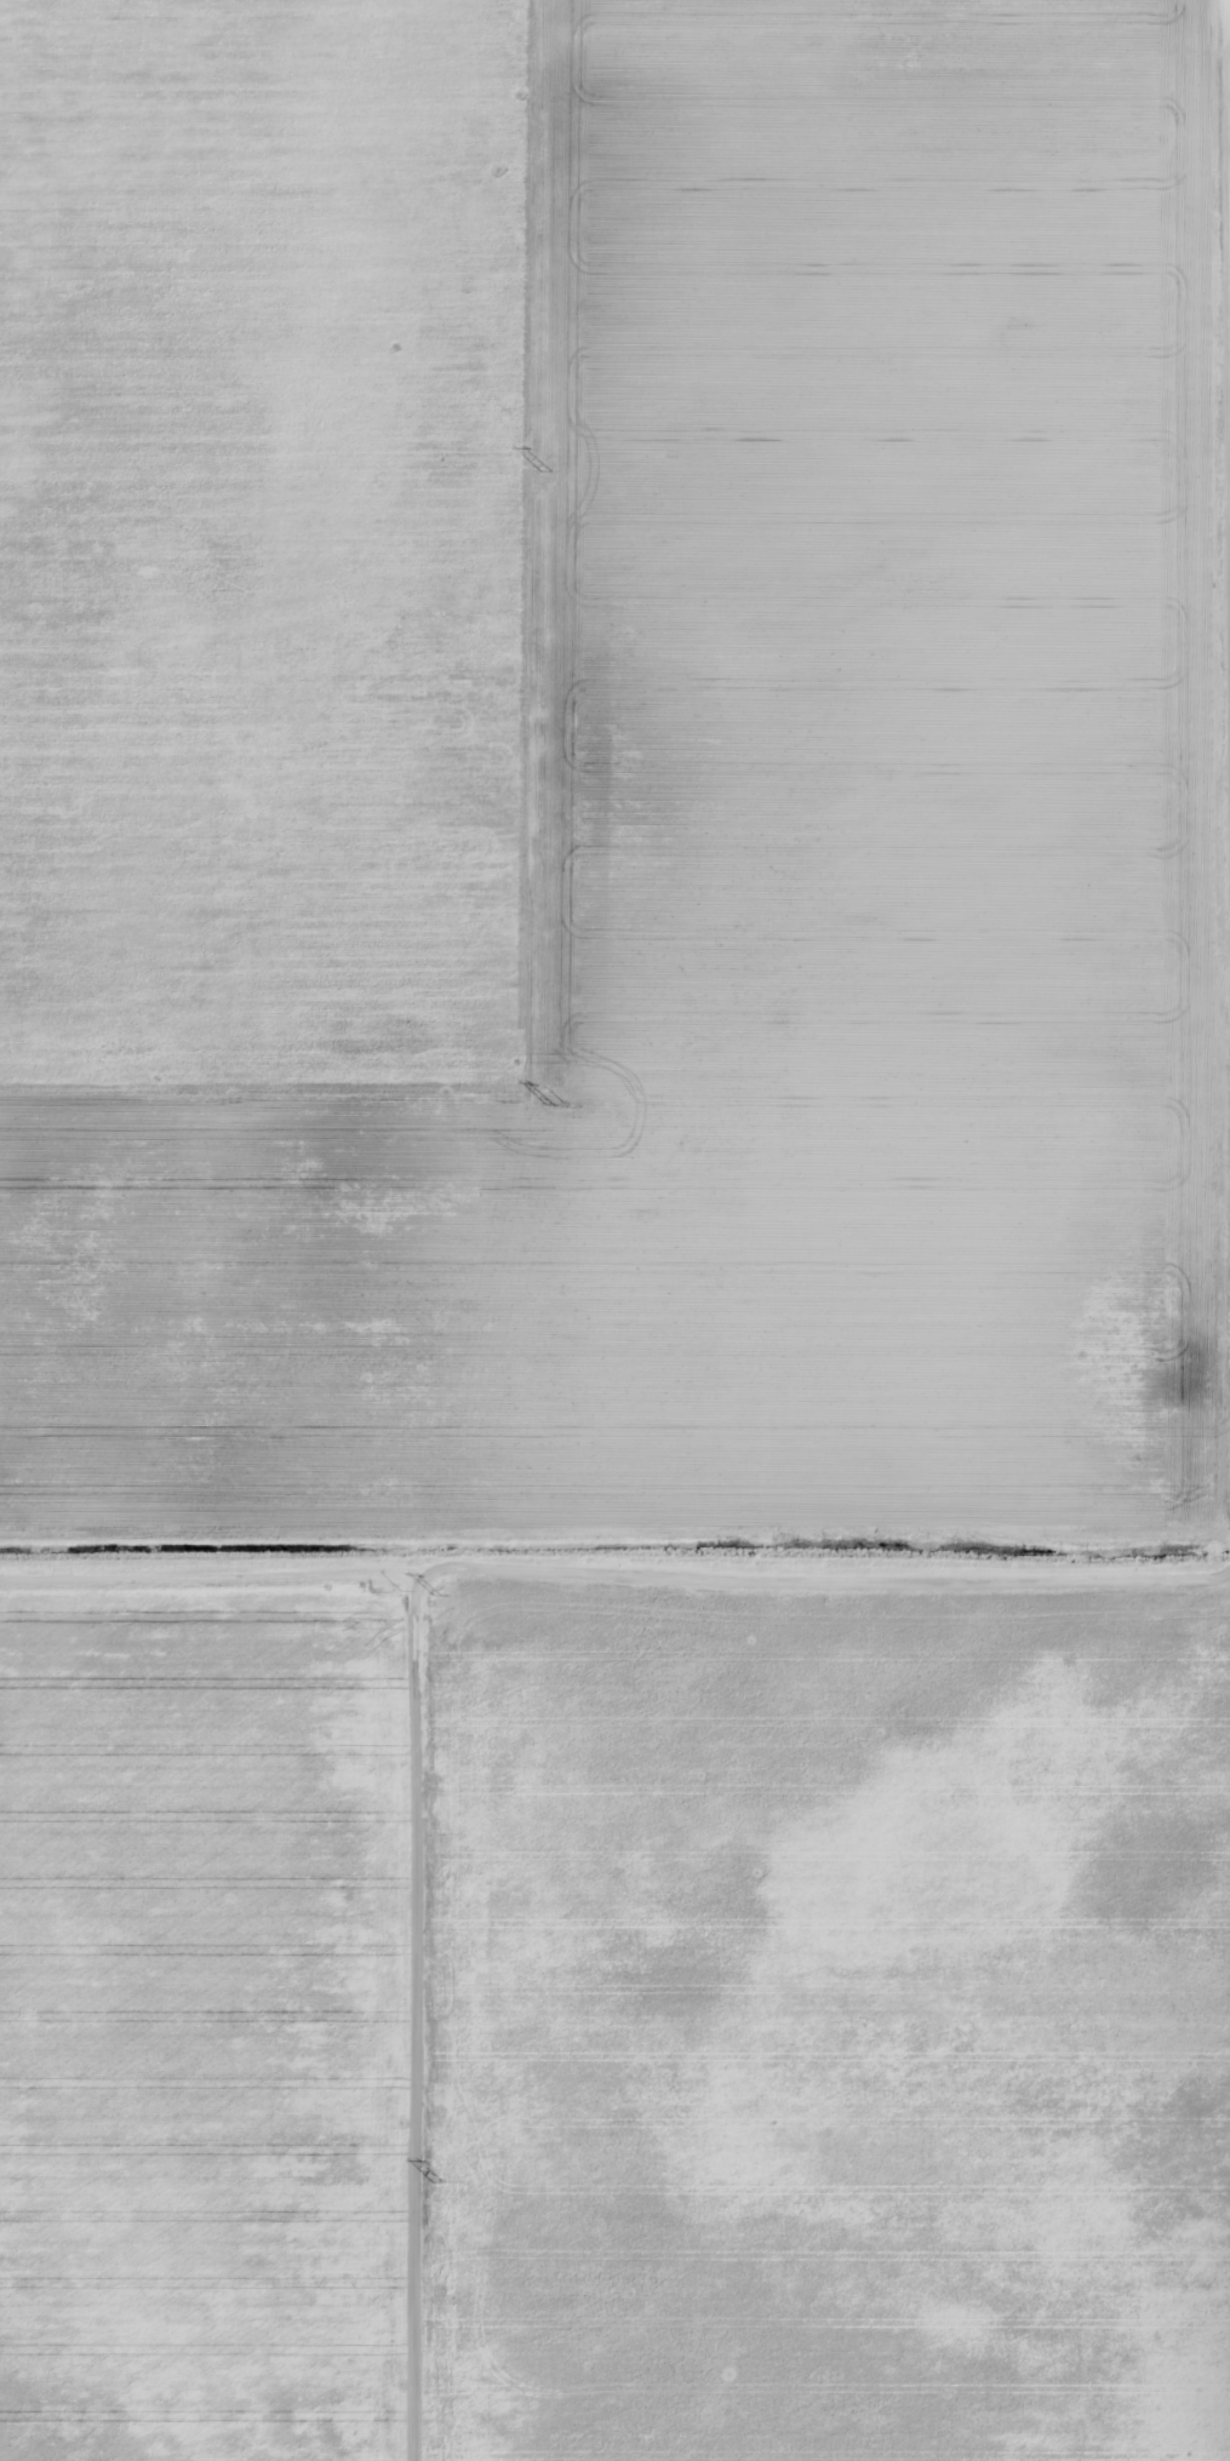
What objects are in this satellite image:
road: (1229, 28)
road: (1229, 111)
power tower: (544, 471)
power tower: (549, 1105)
road: (614, 1566)
power tower: (435, 1595)
road: (384, 2015)
power tower: (436, 2180)

